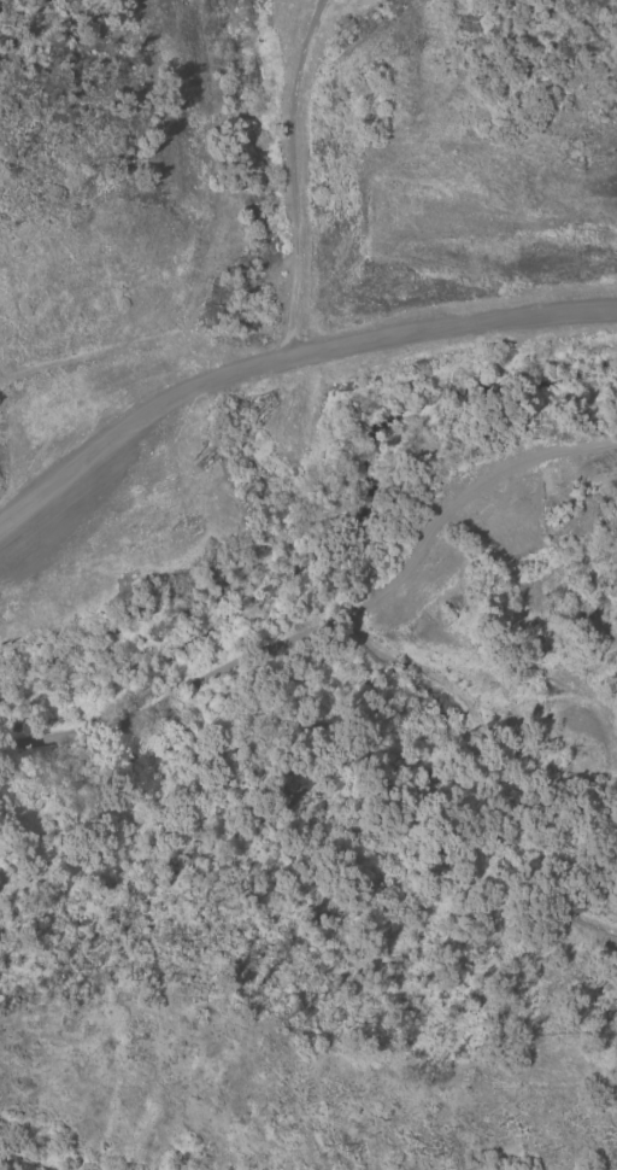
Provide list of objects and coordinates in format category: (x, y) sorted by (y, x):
road: (286, 362)

